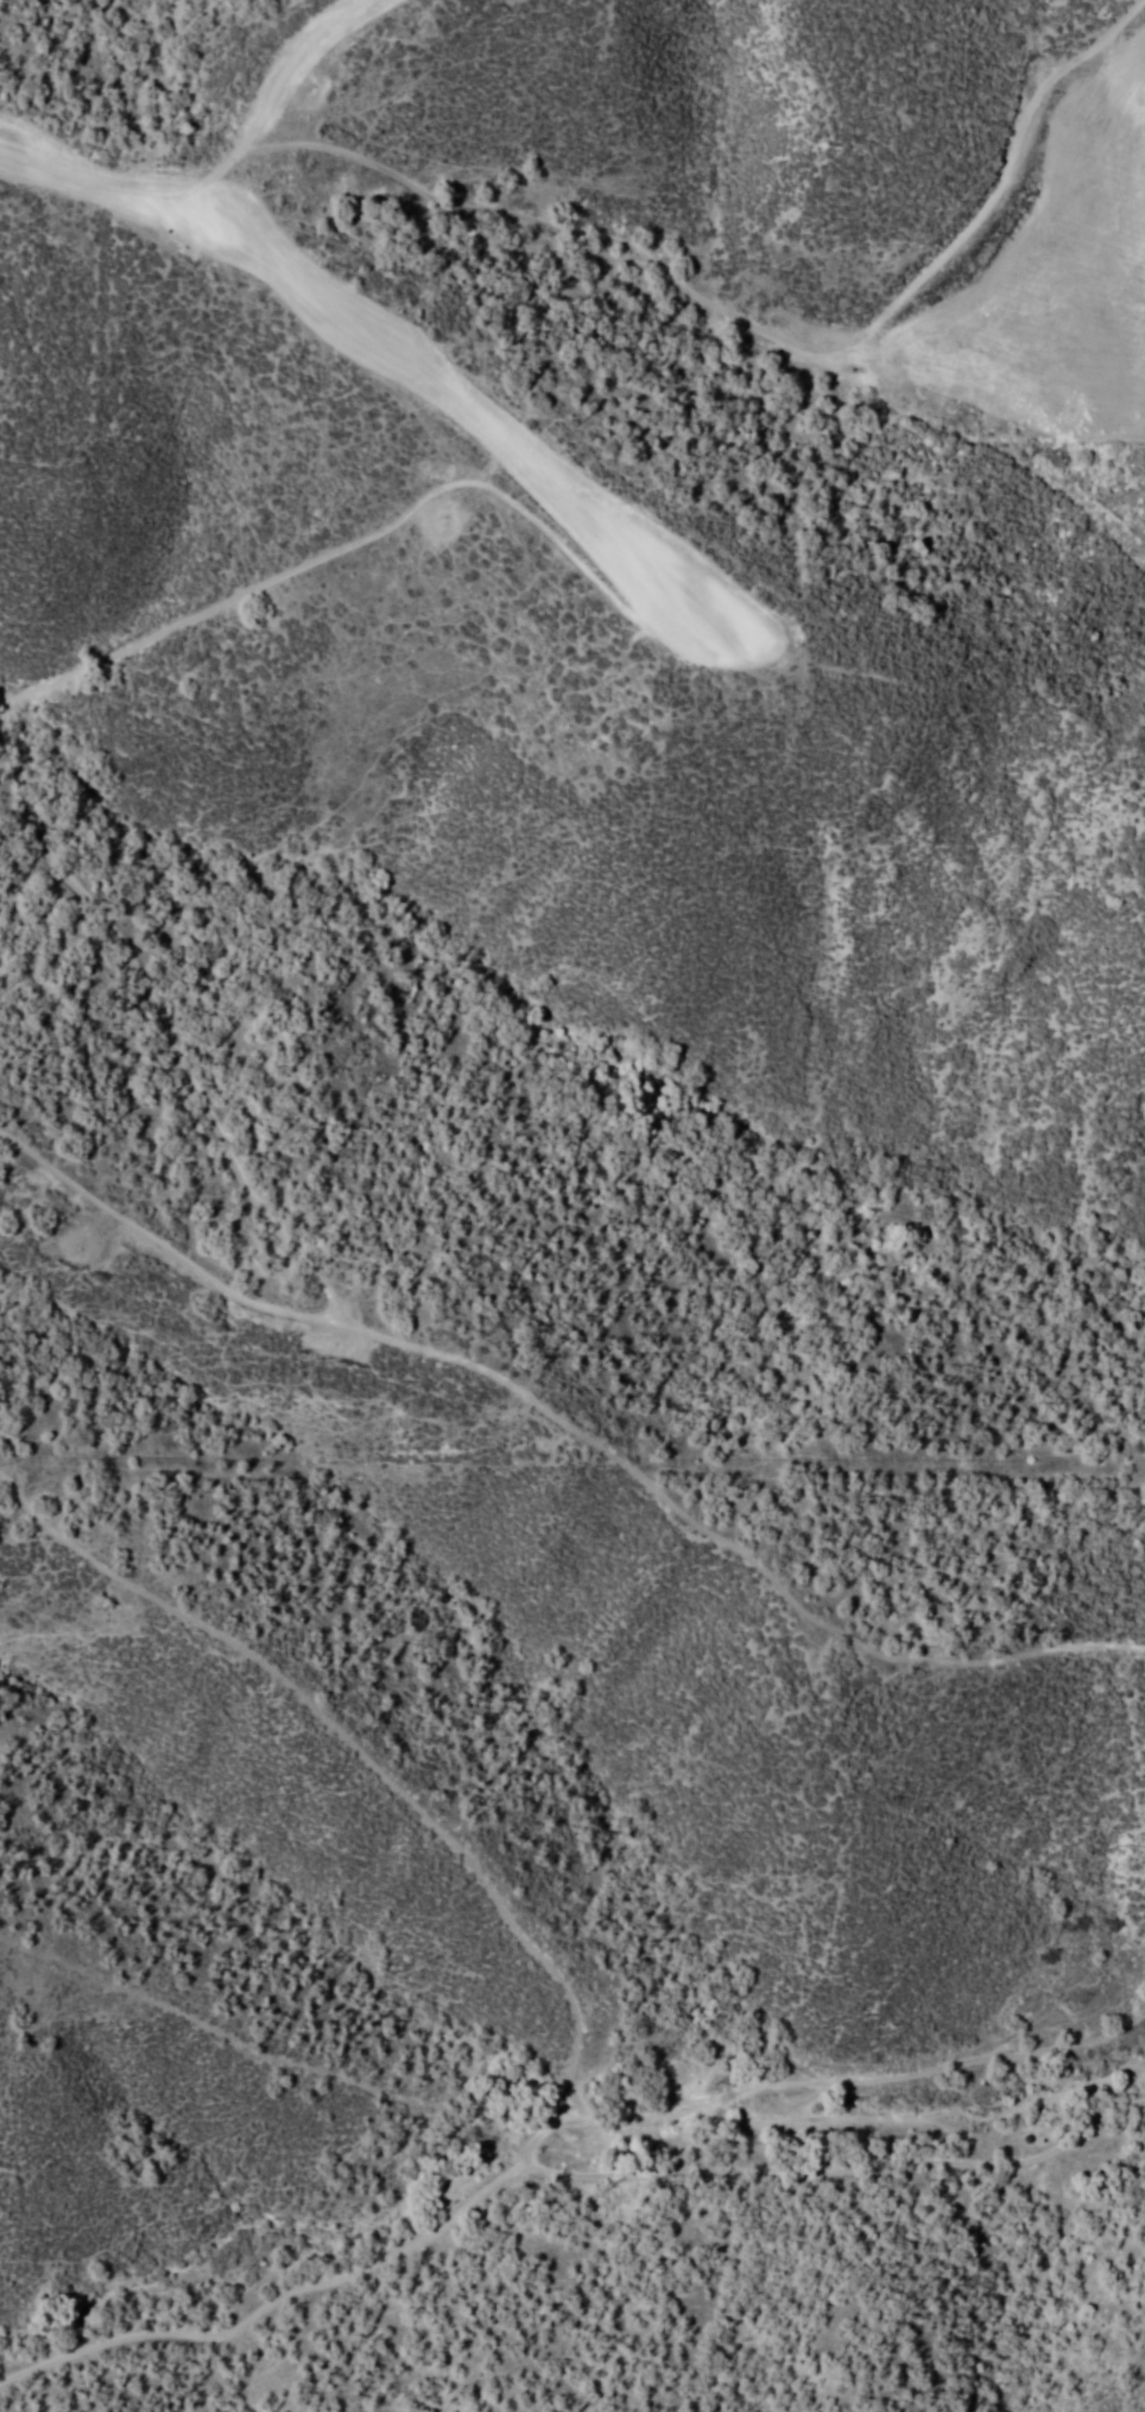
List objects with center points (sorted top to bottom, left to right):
road: (572, 1430)
road: (548, 2142)

